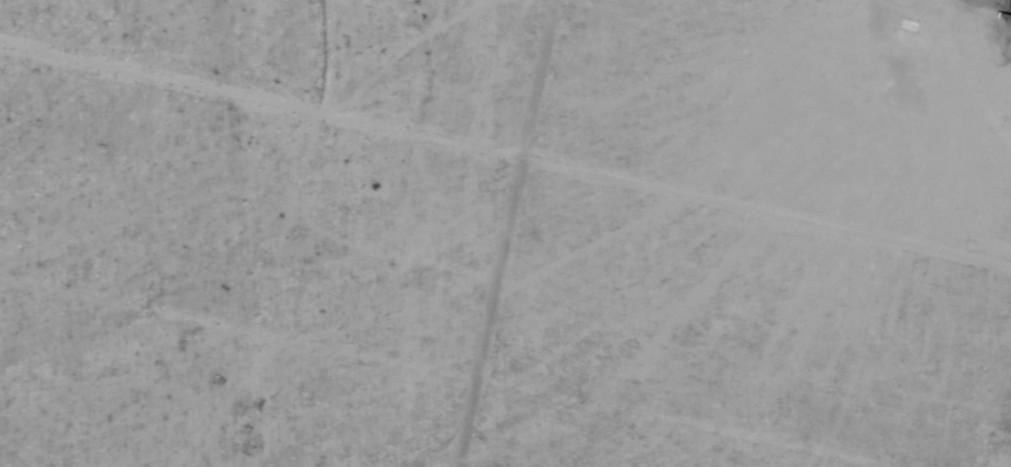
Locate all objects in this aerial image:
road: (995, 5)
airport: (977, 9)

